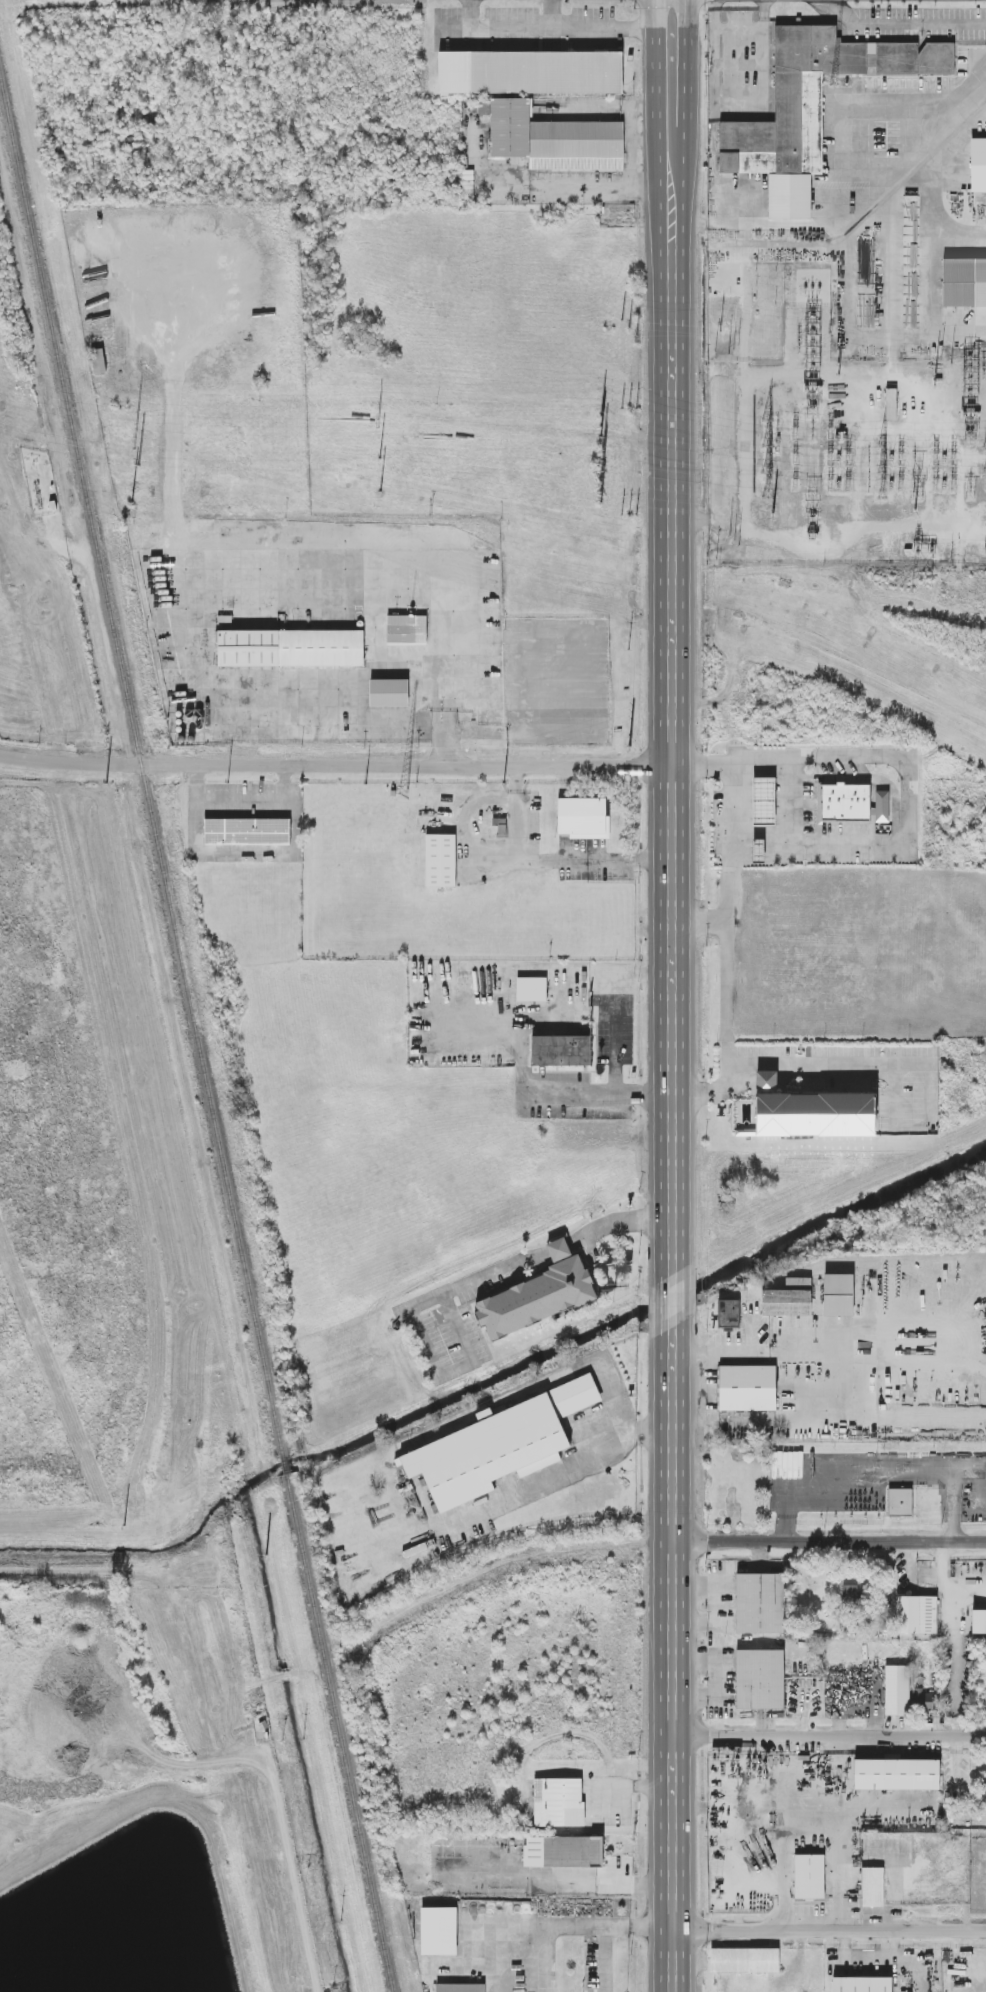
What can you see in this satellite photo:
road: (903, 22)
road: (512, 27)
road: (612, 28)
building: (530, 72)
building: (814, 95)
road: (857, 104)
road: (630, 127)
building: (553, 138)
road: (651, 140)
building: (978, 164)
road: (602, 187)
road: (868, 202)
road: (690, 224)
road: (927, 264)
building: (964, 282)
building: (98, 361)
building: (891, 404)
road: (171, 419)
power tower: (138, 422)
power tower: (373, 424)
power tower: (603, 427)
power substation: (845, 451)
power tower: (918, 499)
road: (185, 578)
building: (406, 630)
road: (672, 637)
building: (290, 648)
road: (440, 689)
building: (388, 693)
road: (445, 748)
railway: (140, 767)
road: (336, 768)
road: (790, 798)
building: (763, 800)
building: (843, 802)
building: (881, 806)
road: (910, 806)
building: (583, 817)
building: (247, 831)
building: (758, 849)
building: (441, 859)
road: (701, 917)
road: (730, 921)
building: (532, 989)
building: (561, 1051)
road: (615, 1053)
road: (816, 1066)
road: (912, 1067)
road: (929, 1093)
road: (601, 1096)
road: (895, 1096)
building: (813, 1115)
road: (618, 1221)
road: (559, 1249)
building: (538, 1294)
building: (839, 1294)
road: (673, 1297)
building: (788, 1298)
building: (729, 1314)
road: (416, 1322)
building: (747, 1388)
building: (499, 1444)
railway: (285, 1467)
road: (557, 1469)
building: (900, 1501)
road: (673, 1526)
road: (829, 1539)
building: (850, 1595)
building: (760, 1603)
building: (915, 1615)
building: (979, 1621)
building: (760, 1679)
building: (896, 1690)
building: (924, 1700)
railway: (339, 1734)
road: (830, 1734)
building: (896, 1774)
road: (627, 1786)
building: (558, 1802)
building: (563, 1850)
road: (673, 1862)
building: (809, 1876)
building: (872, 1886)
road: (830, 1929)
road: (574, 1930)
building: (439, 1931)
building: (744, 1960)
road: (549, 1961)
road: (603, 1961)
building: (862, 1984)
building: (459, 1987)

